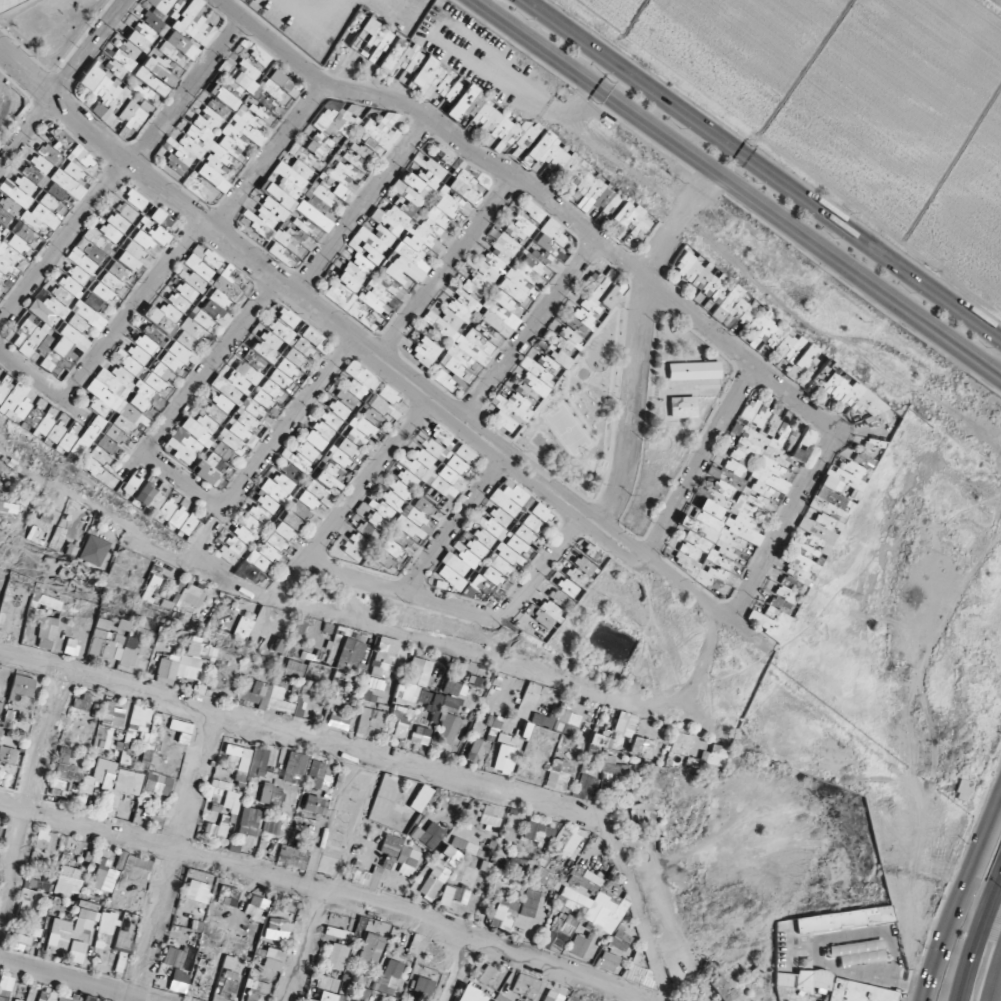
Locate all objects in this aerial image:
park: (57, 31)
park: (582, 410)

